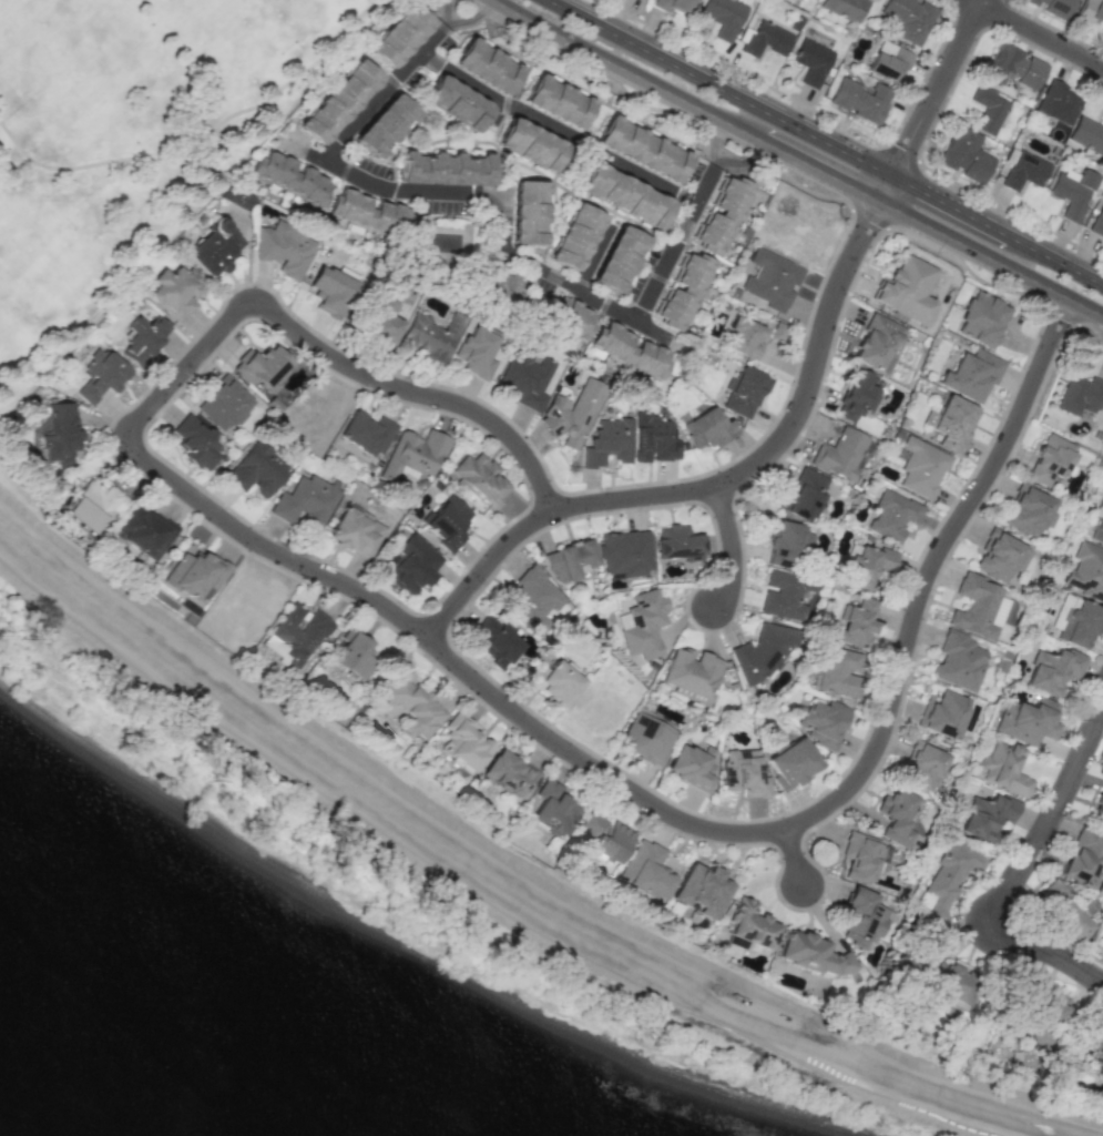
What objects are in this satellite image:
building: (673, 6)
building: (1053, 7)
road: (439, 9)
building: (1091, 10)
building: (723, 17)
road: (469, 19)
building: (906, 19)
park: (239, 32)
road: (1039, 33)
building: (398, 35)
building: (766, 39)
building: (811, 61)
building: (888, 61)
park: (61, 63)
building: (486, 65)
building: (1013, 67)
road: (386, 90)
building: (860, 100)
building: (337, 101)
building: (555, 101)
building: (455, 102)
building: (1056, 103)
building: (989, 110)
building: (384, 124)
road: (558, 128)
building: (1087, 134)
road: (713, 139)
park: (131, 141)
road: (824, 141)
building: (529, 144)
building: (640, 149)
building: (966, 154)
road: (797, 159)
road: (742, 163)
building: (443, 168)
building: (1023, 171)
building: (288, 179)
building: (1072, 191)
building: (623, 195)
building: (235, 196)
road: (503, 196)
building: (527, 212)
building: (722, 214)
building: (1097, 221)
building: (573, 236)
road: (675, 243)
building: (283, 248)
building: (213, 251)
road: (593, 254)
building: (616, 258)
park: (37, 262)
building: (769, 280)
building: (906, 288)
building: (329, 291)
building: (682, 291)
building: (175, 292)
building: (570, 317)
building: (981, 318)
building: (381, 326)
building: (777, 331)
building: (430, 335)
building: (143, 338)
building: (743, 338)
building: (876, 342)
building: (627, 349)
building: (474, 352)
road: (327, 354)
building: (262, 367)
building: (100, 374)
building: (971, 374)
building: (524, 377)
building: (744, 392)
building: (1080, 394)
building: (223, 404)
building: (571, 413)
road: (795, 415)
building: (950, 423)
building: (706, 428)
building: (57, 432)
building: (367, 433)
building: (653, 438)
building: (607, 440)
building: (196, 443)
building: (840, 454)
building: (412, 455)
building: (1050, 459)
building: (921, 467)
building: (256, 468)
building: (479, 476)
building: (804, 494)
building: (101, 497)
building: (304, 501)
building: (1101, 503)
building: (1028, 510)
building: (891, 515)
building: (446, 523)
building: (1095, 530)
building: (145, 531)
building: (354, 532)
building: (678, 542)
building: (785, 542)
road: (734, 545)
building: (625, 552)
building: (1000, 556)
building: (569, 560)
building: (412, 564)
building: (867, 565)
building: (1086, 571)
building: (197, 572)
building: (784, 594)
building: (532, 598)
building: (978, 607)
building: (855, 622)
building: (642, 623)
building: (299, 631)
building: (497, 642)
building: (763, 652)
building: (351, 655)
building: (959, 660)
building: (1052, 669)
building: (840, 670)
building: (692, 674)
building: (552, 681)
building: (410, 704)
building: (942, 713)
building: (1027, 720)
building: (825, 722)
building: (645, 738)
building: (464, 742)
building: (793, 762)
building: (692, 764)
building: (922, 767)
building: (1003, 768)
building: (744, 773)
building: (510, 774)
building: (1097, 807)
building: (551, 809)
building: (896, 815)
building: (987, 815)
road: (702, 825)
building: (604, 838)
building: (1082, 855)
building: (864, 858)
road: (795, 859)
building: (652, 870)
road: (1014, 881)
building: (948, 882)
road: (498, 886)
building: (702, 890)
building: (1065, 912)
building: (862, 920)
building: (752, 923)
building: (814, 954)
building: (1102, 956)
building: (950, 988)
building: (1052, 1007)
river: (176, 1044)
building: (1096, 1048)

